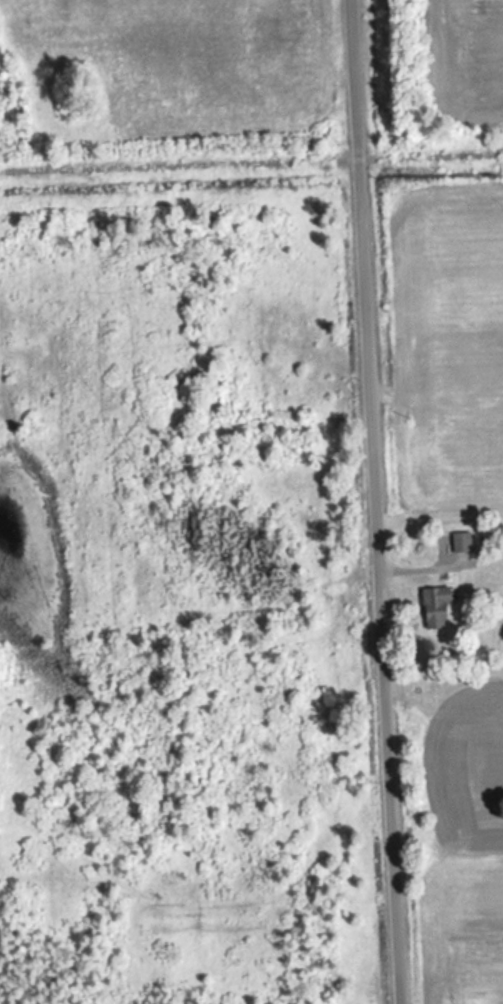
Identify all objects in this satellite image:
railway: (251, 163)
road: (377, 501)
building: (466, 542)
building: (443, 606)

